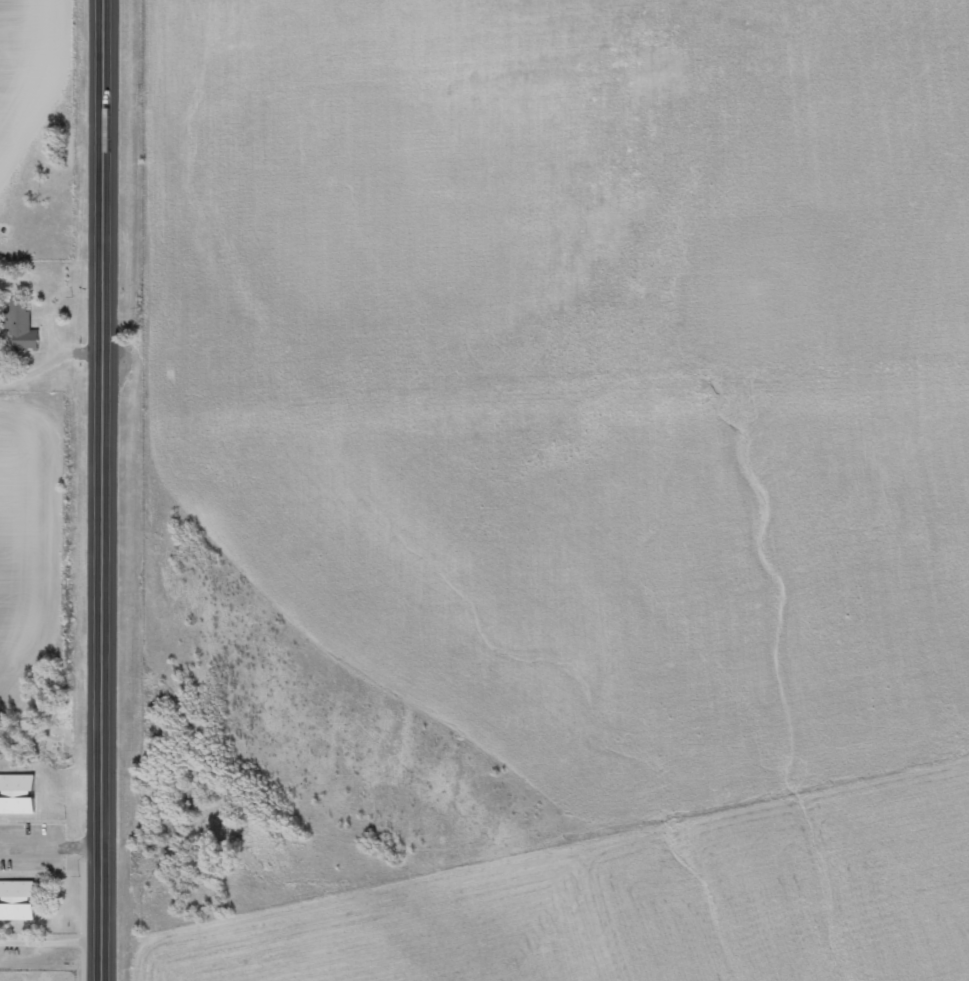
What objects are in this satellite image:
road: (105, 210)
building: (21, 329)
road: (102, 700)
building: (17, 795)

